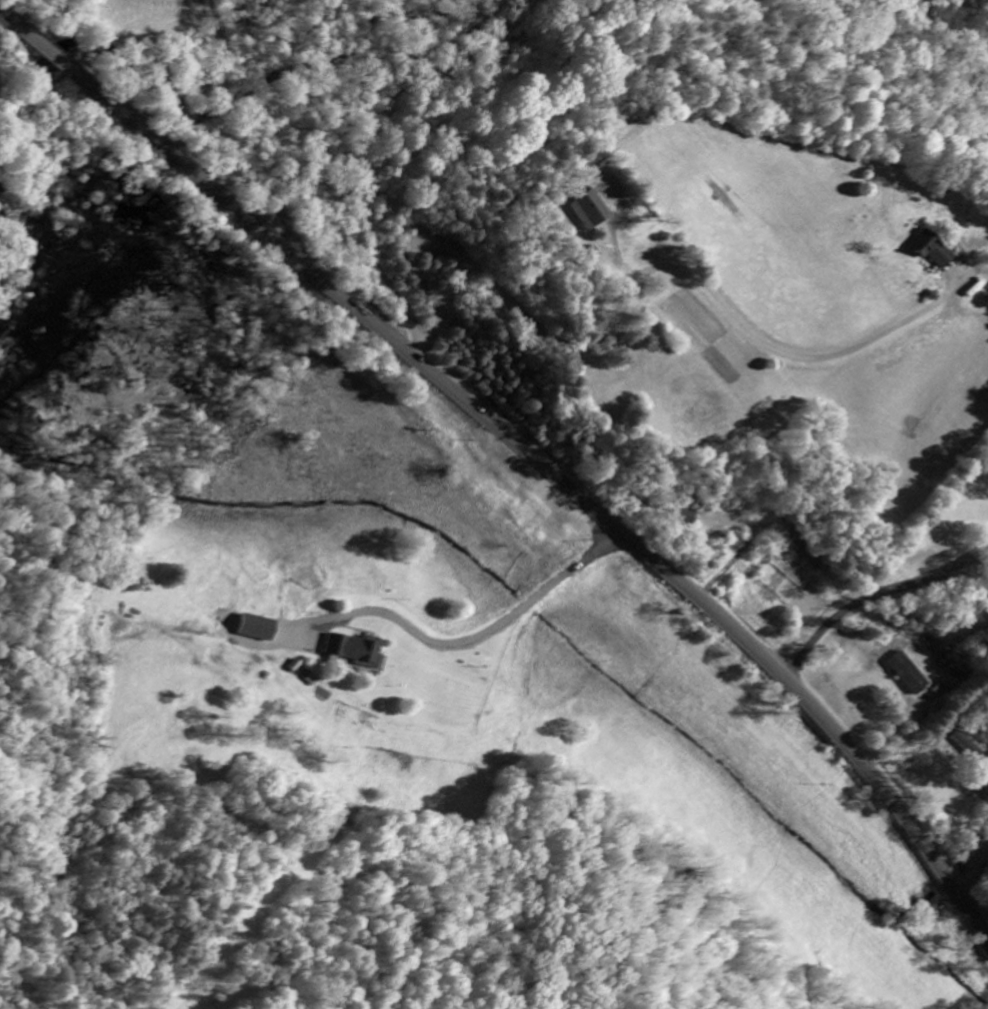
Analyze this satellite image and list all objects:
road: (302, 52)
road: (135, 63)
road: (474, 133)
road: (243, 170)
building: (588, 212)
building: (931, 251)
road: (520, 451)
building: (259, 630)
road: (475, 634)
building: (357, 651)
building: (908, 675)
building: (940, 691)
building: (980, 792)

